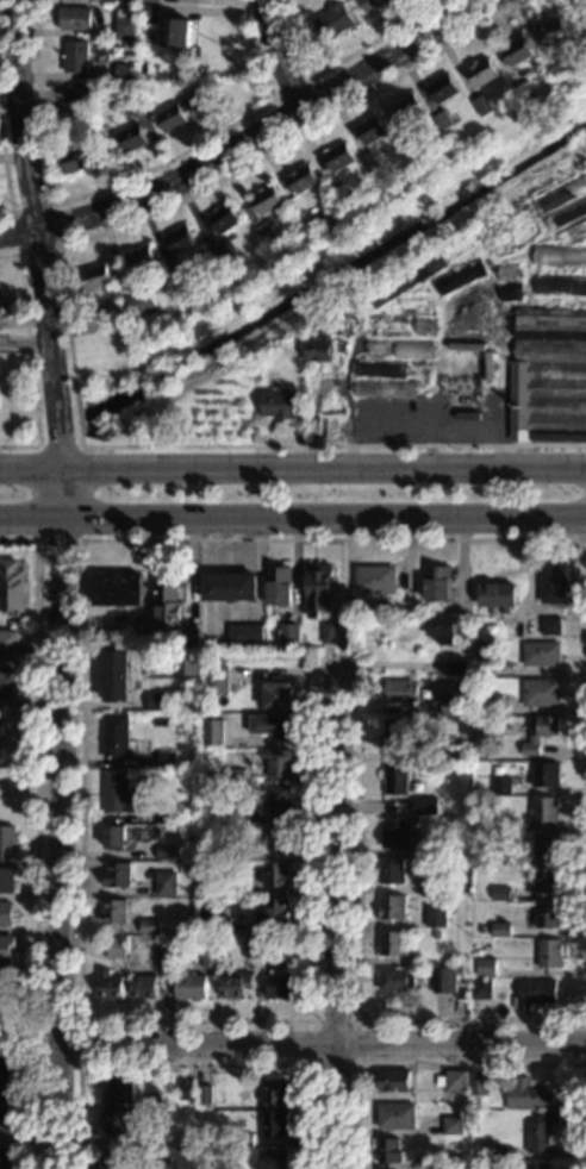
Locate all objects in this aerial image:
building: (150, 0)
building: (106, 4)
building: (131, 4)
building: (374, 5)
building: (150, 13)
building: (75, 18)
building: (333, 21)
building: (126, 24)
building: (551, 31)
building: (177, 32)
building: (582, 43)
building: (518, 51)
building: (120, 54)
road: (274, 56)
building: (76, 57)
road: (341, 60)
building: (555, 67)
building: (125, 70)
building: (482, 70)
building: (444, 88)
building: (79, 90)
building: (526, 93)
road: (274, 98)
building: (135, 100)
building: (484, 105)
building: (407, 110)
building: (181, 111)
building: (447, 119)
building: (372, 130)
building: (131, 138)
road: (248, 140)
building: (418, 150)
building: (339, 156)
building: (79, 157)
building: (370, 162)
road: (6, 175)
road: (123, 179)
building: (304, 179)
building: (341, 190)
building: (569, 190)
building: (267, 199)
road: (54, 202)
building: (568, 214)
building: (225, 219)
building: (328, 223)
building: (578, 231)
road: (37, 232)
building: (267, 233)
building: (181, 239)
building: (225, 254)
building: (560, 256)
building: (139, 258)
building: (96, 276)
building: (461, 277)
building: (405, 281)
building: (561, 285)
building: (0, 301)
building: (141, 302)
building: (187, 305)
building: (416, 308)
building: (111, 311)
building: (345, 311)
building: (480, 318)
building: (551, 321)
building: (5, 323)
building: (376, 324)
building: (424, 326)
road: (69, 333)
road: (24, 343)
building: (319, 348)
building: (380, 349)
building: (414, 350)
road: (30, 358)
building: (380, 369)
building: (548, 387)
building: (412, 388)
building: (463, 392)
building: (376, 393)
building: (279, 405)
river: (42, 452)
road: (27, 465)
road: (320, 467)
road: (56, 495)
road: (320, 521)
road: (26, 523)
road: (82, 539)
building: (374, 580)
building: (553, 582)
building: (437, 583)
building: (12, 587)
building: (230, 587)
building: (279, 587)
building: (319, 588)
building: (117, 590)
building: (497, 595)
building: (168, 608)
building: (409, 608)
building: (549, 625)
building: (526, 627)
building: (440, 629)
building: (328, 632)
building: (244, 633)
building: (288, 633)
building: (8, 645)
building: (540, 654)
building: (461, 656)
building: (186, 661)
building: (456, 664)
building: (484, 667)
building: (116, 675)
building: (217, 679)
building: (5, 683)
building: (400, 690)
building: (540, 692)
building: (278, 694)
building: (155, 701)
building: (491, 702)
building: (450, 706)
building: (158, 721)
building: (272, 726)
building: (212, 732)
building: (538, 732)
building: (394, 734)
building: (114, 736)
building: (453, 752)
building: (166, 759)
building: (278, 762)
building: (232, 774)
building: (206, 775)
building: (544, 775)
building: (395, 779)
building: (500, 786)
road: (54, 787)
building: (116, 793)
road: (81, 799)
building: (274, 799)
building: (425, 805)
building: (544, 808)
building: (241, 811)
building: (166, 812)
building: (481, 820)
building: (398, 832)
road: (37, 834)
building: (112, 836)
building: (278, 838)
building: (7, 842)
building: (546, 844)
building: (227, 848)
building: (447, 849)
building: (164, 852)
building: (500, 857)
building: (391, 871)
building: (276, 874)
building: (116, 875)
building: (6, 880)
building: (546, 880)
building: (164, 883)
building: (447, 883)
building: (429, 884)
building: (238, 886)
building: (500, 893)
building: (392, 907)
building: (112, 911)
building: (274, 912)
building: (6, 913)
building: (547, 914)
building: (436, 915)
building: (220, 924)
road: (333, 925)
building: (149, 926)
building: (482, 930)
building: (500, 930)
building: (437, 934)
building: (392, 943)
building: (6, 948)
building: (116, 948)
building: (253, 949)
building: (549, 952)
building: (210, 957)
building: (164, 958)
building: (274, 959)
building: (485, 967)
building: (394, 979)
building: (443, 980)
building: (110, 984)
building: (235, 984)
building: (189, 986)
building: (143, 987)
building: (280, 987)
building: (481, 988)
building: (5, 993)
building: (534, 993)
road: (370, 1021)
road: (313, 1024)
road: (79, 1043)
road: (584, 1044)
road: (319, 1045)
road: (466, 1064)
road: (195, 1067)
building: (393, 1080)
building: (453, 1080)
building: (6, 1084)
building: (478, 1086)
building: (186, 1089)
building: (117, 1090)
building: (274, 1092)
building: (204, 1095)
building: (530, 1095)
road: (52, 1109)
building: (395, 1115)
building: (6, 1120)
building: (114, 1120)
building: (274, 1123)
building: (453, 1125)
building: (541, 1132)
building: (156, 1139)
building: (243, 1139)
building: (388, 1150)
building: (5, 1158)
building: (272, 1158)
building: (114, 1159)
building: (435, 1162)
building: (536, 1165)
building: (150, 1168)
building: (223, 1168)

